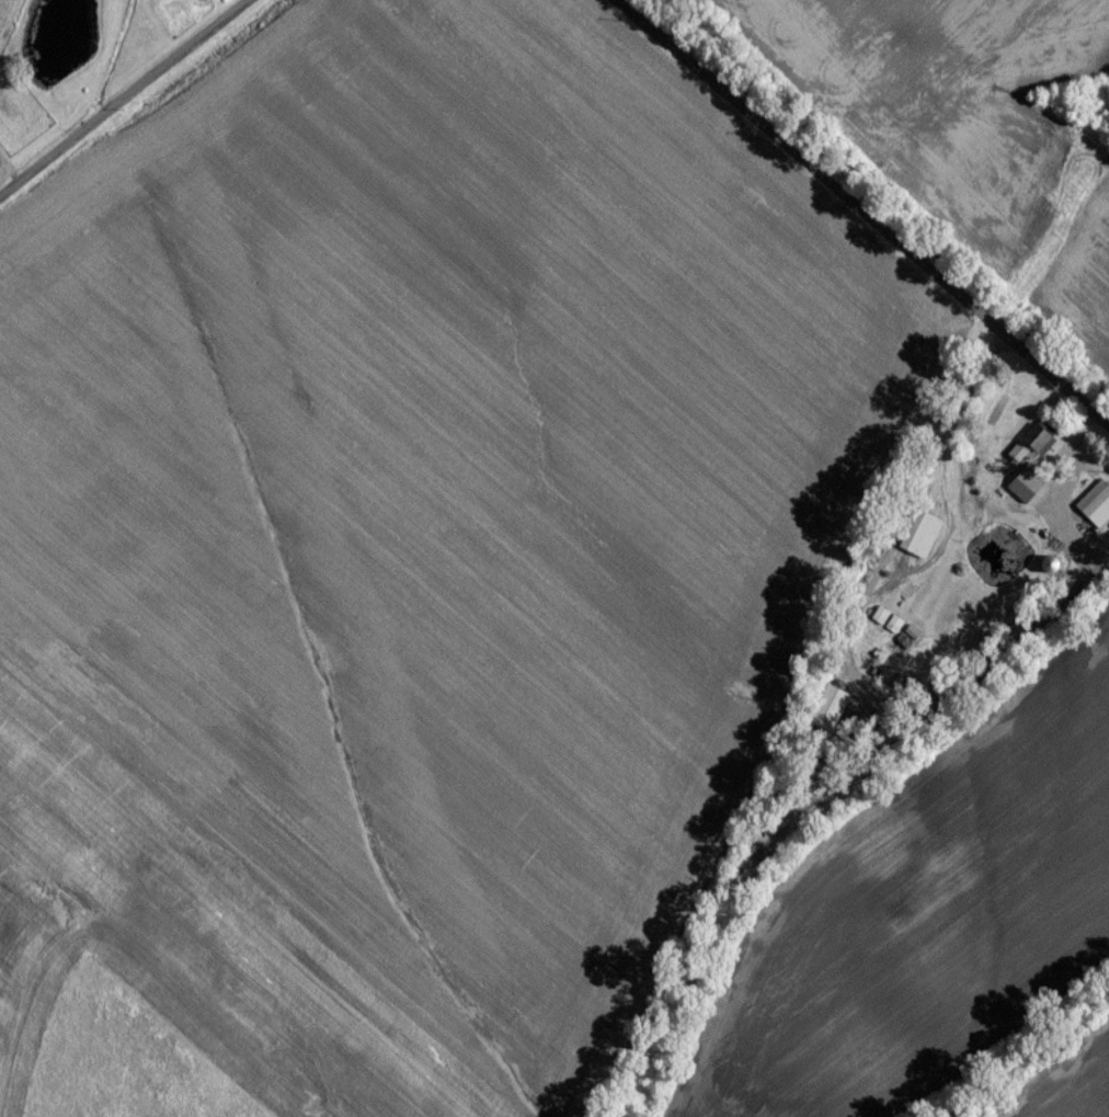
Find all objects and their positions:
road: (122, 98)
road: (858, 215)
building: (1037, 445)
building: (1094, 512)
road: (1057, 513)
building: (916, 542)
building: (899, 651)
building: (825, 714)

